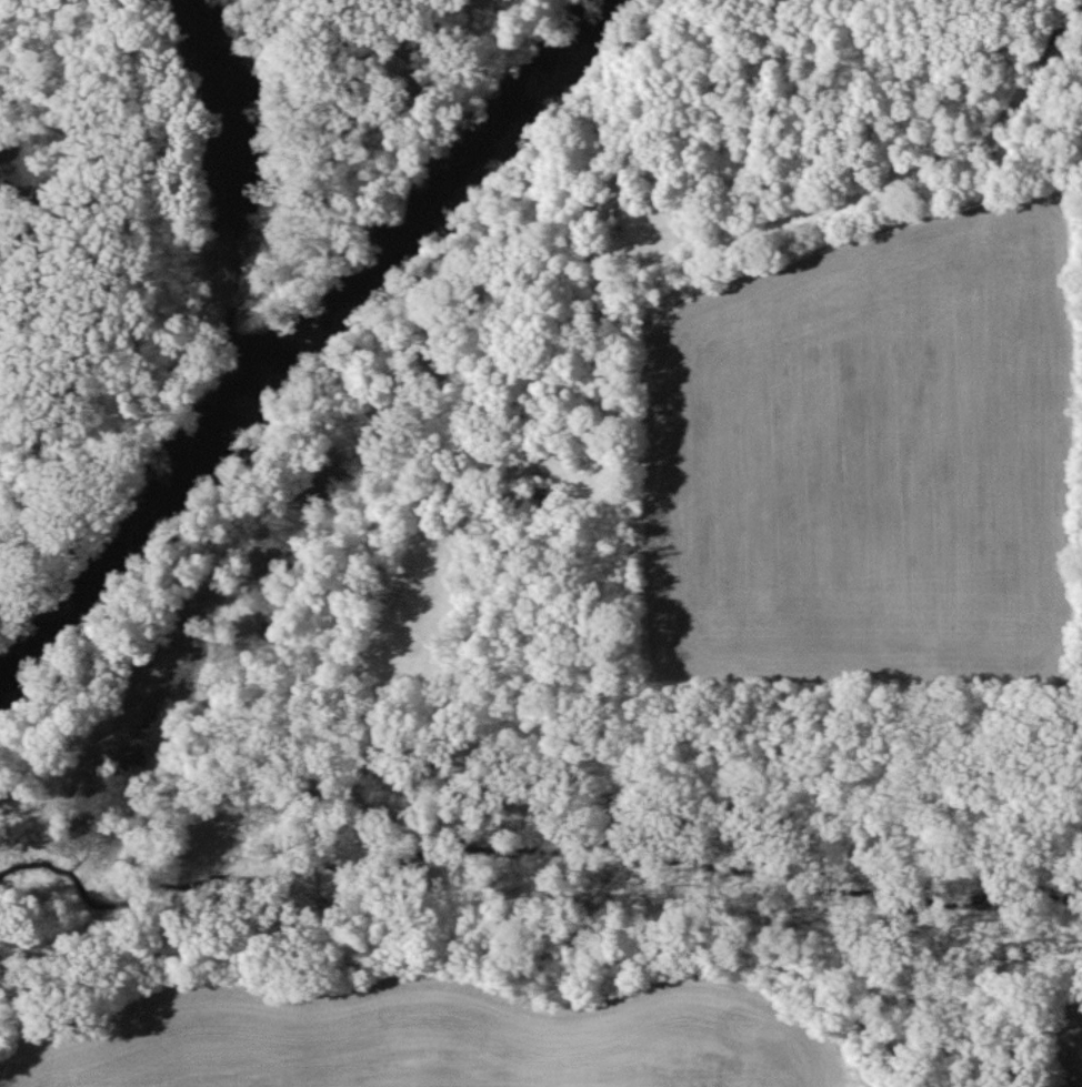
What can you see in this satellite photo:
river: (370, 281)
river: (54, 625)

